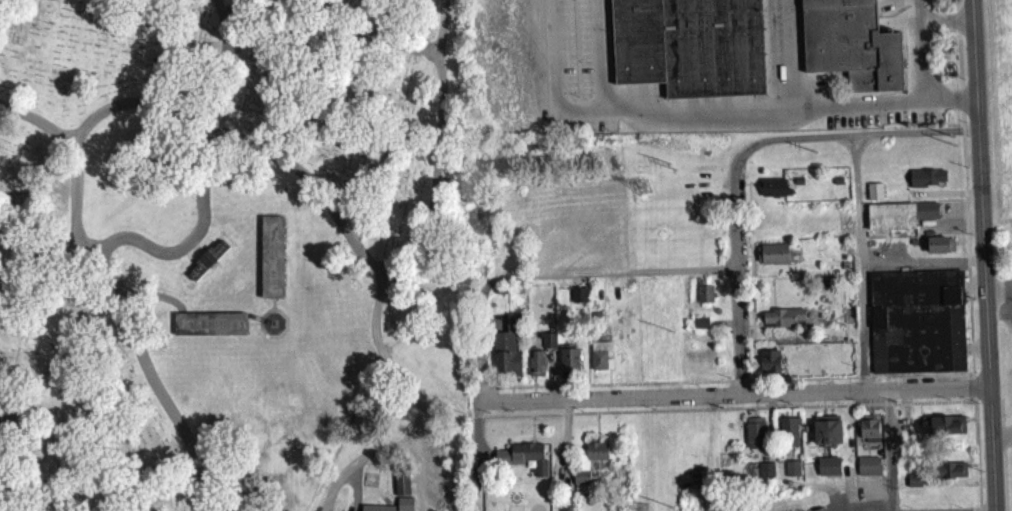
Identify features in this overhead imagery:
road: (926, 8)
road: (362, 41)
building: (688, 47)
building: (847, 47)
road: (784, 53)
road: (919, 56)
road: (227, 57)
road: (958, 65)
road: (136, 101)
road: (724, 110)
road: (39, 120)
road: (961, 135)
road: (740, 160)
road: (432, 173)
building: (926, 183)
power tower: (642, 186)
road: (325, 194)
building: (775, 194)
building: (874, 197)
building: (899, 221)
road: (194, 233)
building: (940, 251)
road: (981, 255)
park: (234, 256)
building: (775, 259)
road: (39, 260)
road: (966, 261)
building: (271, 263)
building: (205, 266)
road: (861, 267)
road: (922, 269)
road: (549, 278)
road: (997, 285)
building: (704, 300)
road: (131, 324)
building: (784, 324)
building: (916, 326)
building: (701, 328)
building: (210, 330)
building: (548, 346)
building: (506, 355)
building: (772, 360)
building: (600, 362)
building: (569, 365)
building: (536, 369)
road: (858, 382)
road: (724, 386)
road: (738, 386)
road: (650, 388)
road: (530, 391)
road: (971, 393)
road: (729, 399)
road: (972, 404)
road: (422, 407)
road: (776, 412)
road: (904, 423)
building: (942, 431)
building: (869, 433)
road: (1000, 435)
building: (826, 436)
building: (789, 438)
building: (755, 439)
road: (475, 440)
road: (888, 453)
road: (1000, 457)
road: (358, 460)
building: (525, 462)
building: (588, 470)
building: (868, 471)
building: (828, 472)
building: (792, 474)
building: (766, 476)
building: (950, 476)
building: (913, 486)
building: (401, 490)
building: (404, 507)
power tower: (643, 508)

